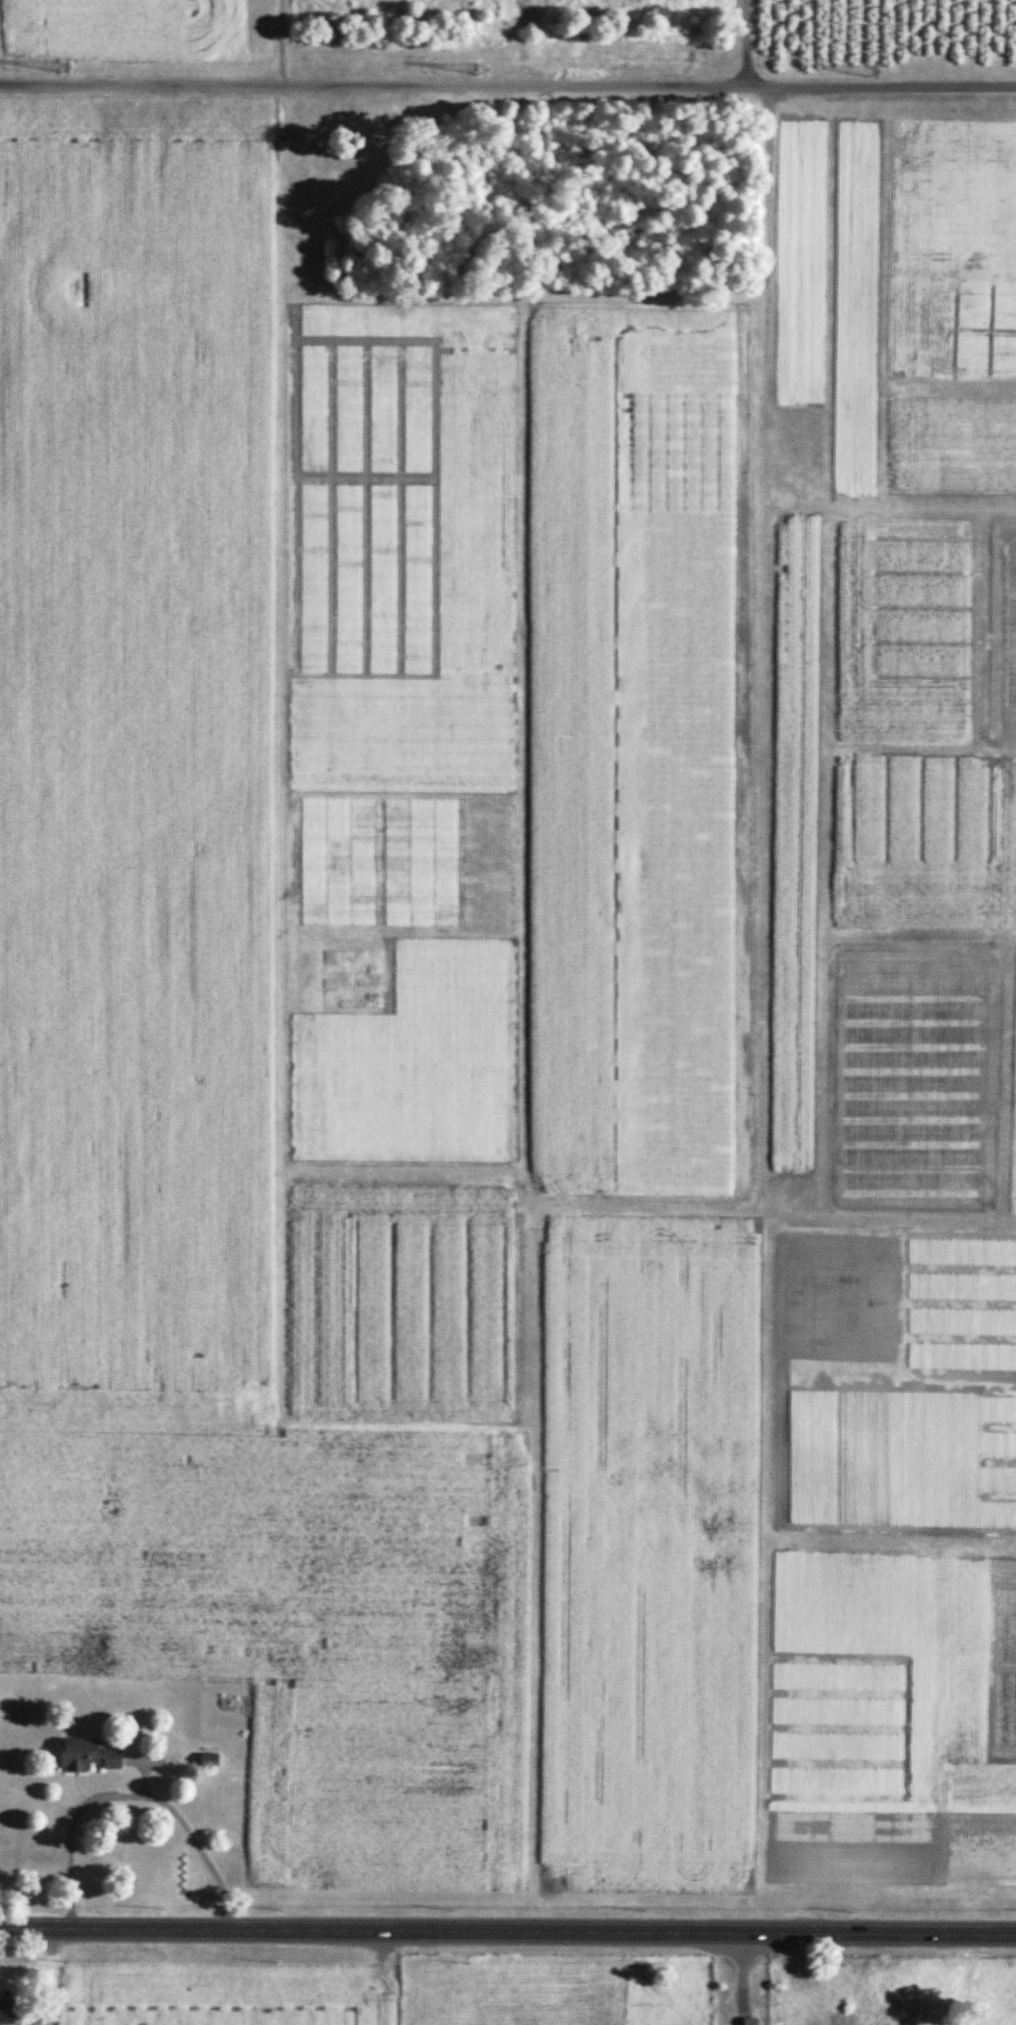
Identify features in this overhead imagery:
crop: (118, 27)
road: (745, 42)
power tower: (64, 65)
power tower: (480, 69)
power tower: (869, 71)
road: (508, 83)
crop: (945, 228)
crop: (798, 261)
crop: (854, 307)
crop: (402, 323)
crop: (982, 330)
crop: (674, 407)
crop: (953, 445)
crop: (364, 509)
crop: (476, 510)
crop: (901, 629)
crop: (999, 631)
crop: (401, 733)
crop: (568, 744)
crop: (135, 752)
crop: (915, 838)
crop: (792, 841)
crop: (1006, 841)
crop: (672, 849)
crop: (336, 860)
crop: (421, 863)
crop: (350, 977)
crop: (412, 1060)
crop: (913, 1079)
crop: (1014, 1151)
crop: (400, 1294)
crop: (840, 1302)
crop: (958, 1302)
crop: (899, 1458)
crop: (646, 1554)
crop: (296, 1619)
crop: (1000, 1657)
crop: (946, 1704)
crop: (841, 1727)
building: (86, 1755)
building: (207, 1759)
road: (131, 1791)
crop: (893, 1844)
road: (508, 1928)
building: (4, 1996)
crop: (223, 1997)
building: (6, 2012)
building: (749, 2020)

